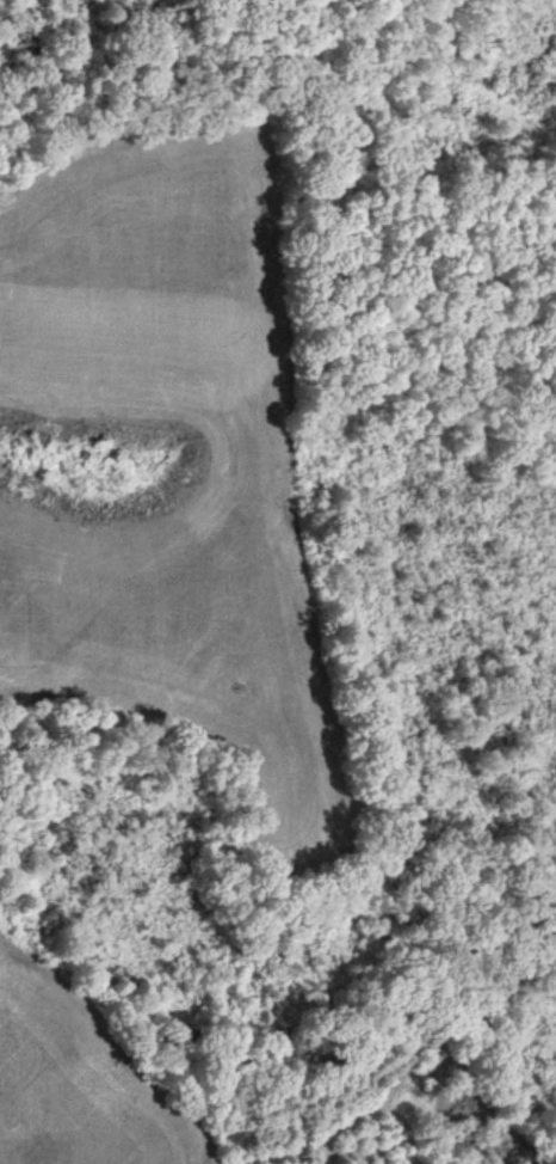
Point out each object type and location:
crop: (169, 467)
crop: (87, 1074)

